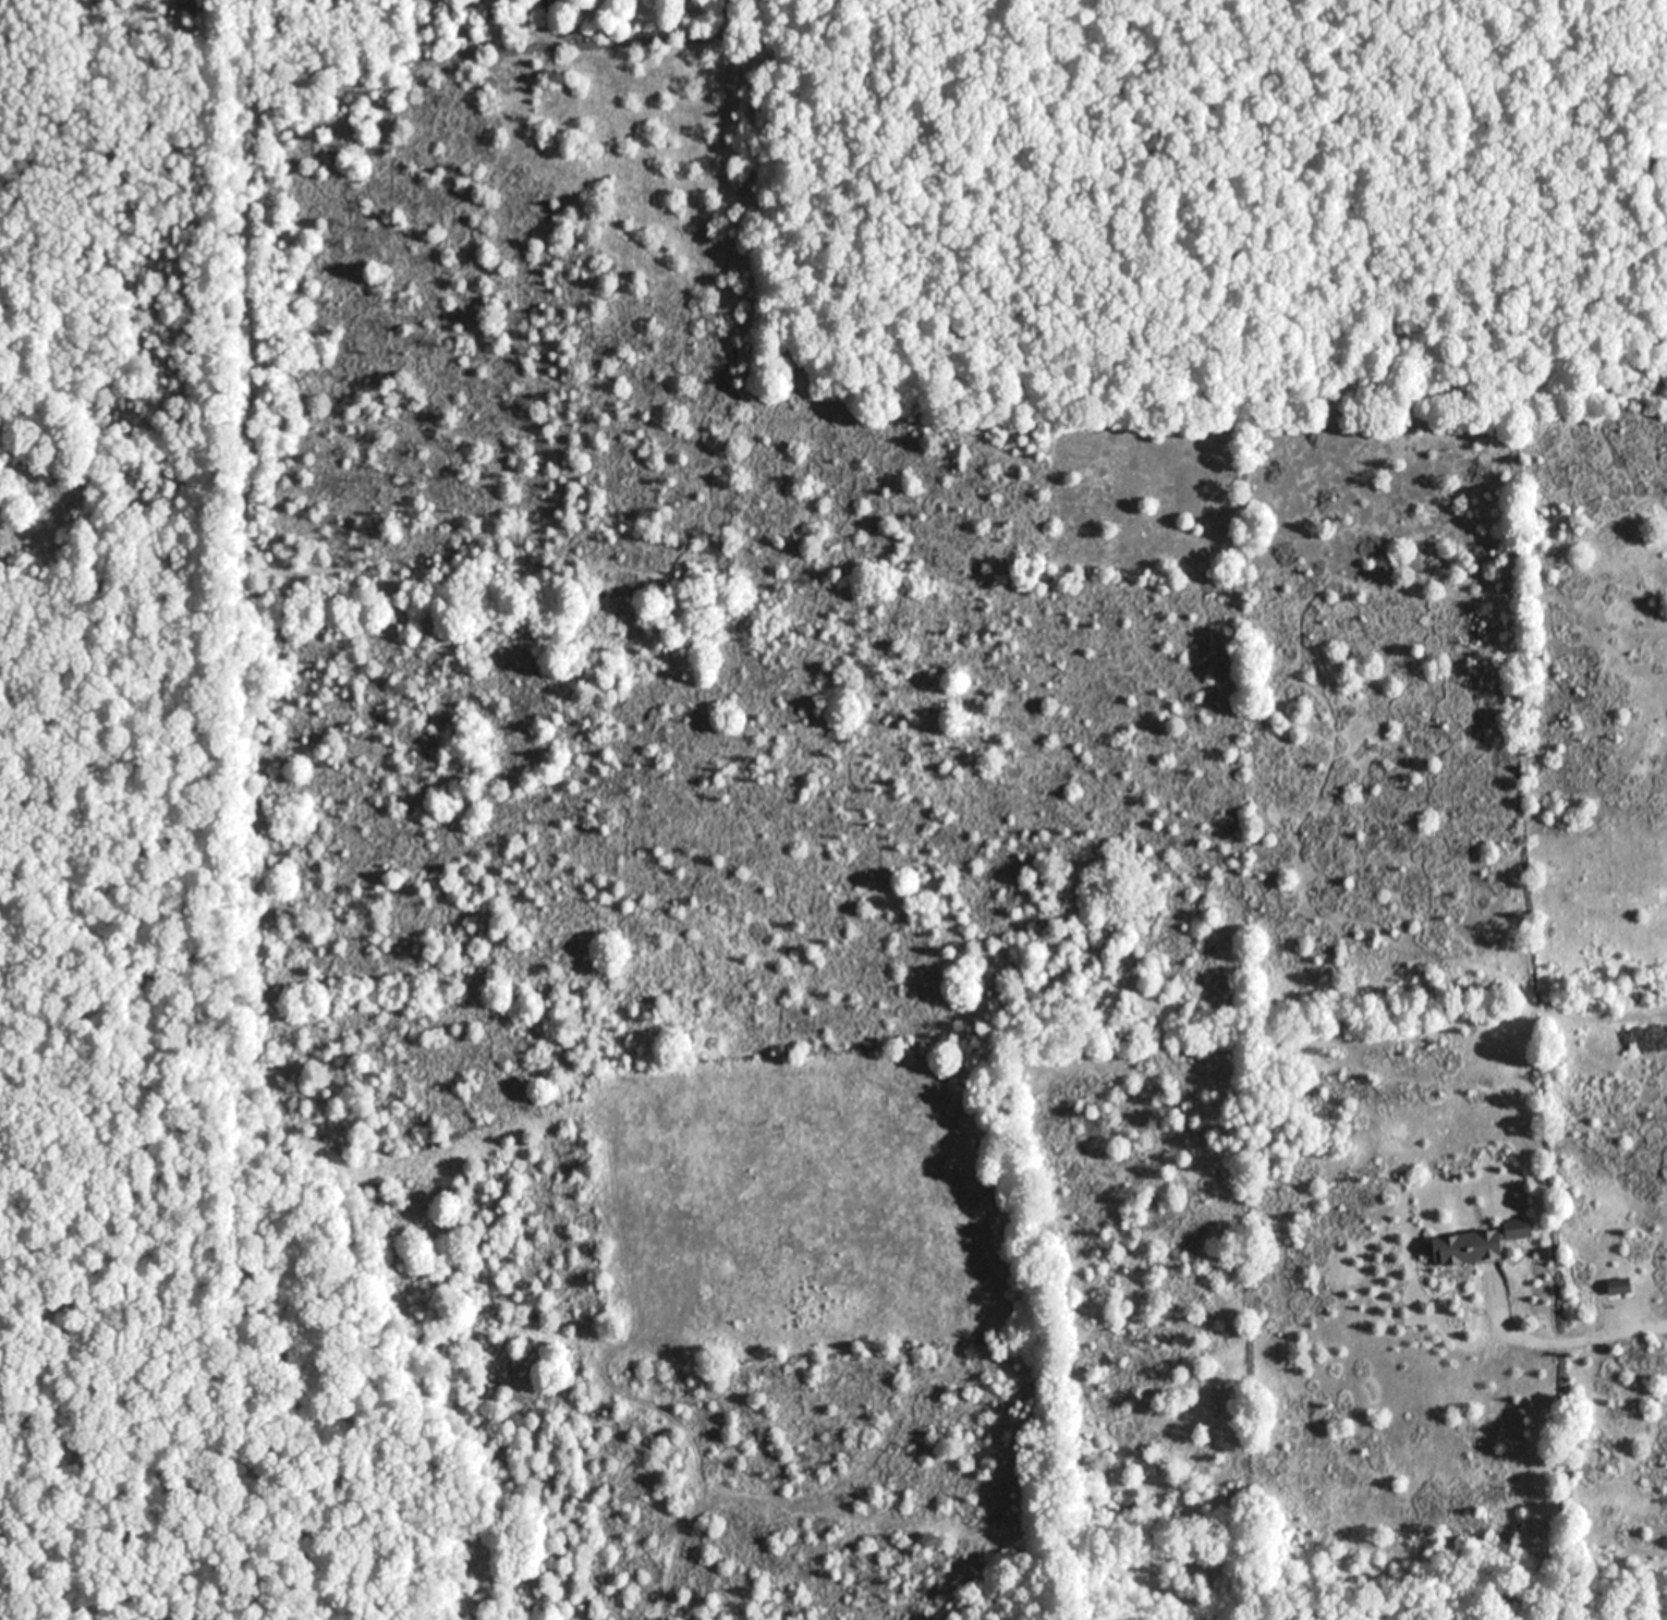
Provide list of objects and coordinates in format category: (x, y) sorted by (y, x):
building: (1471, 1242)
building: (1614, 1286)
road: (1568, 1343)

